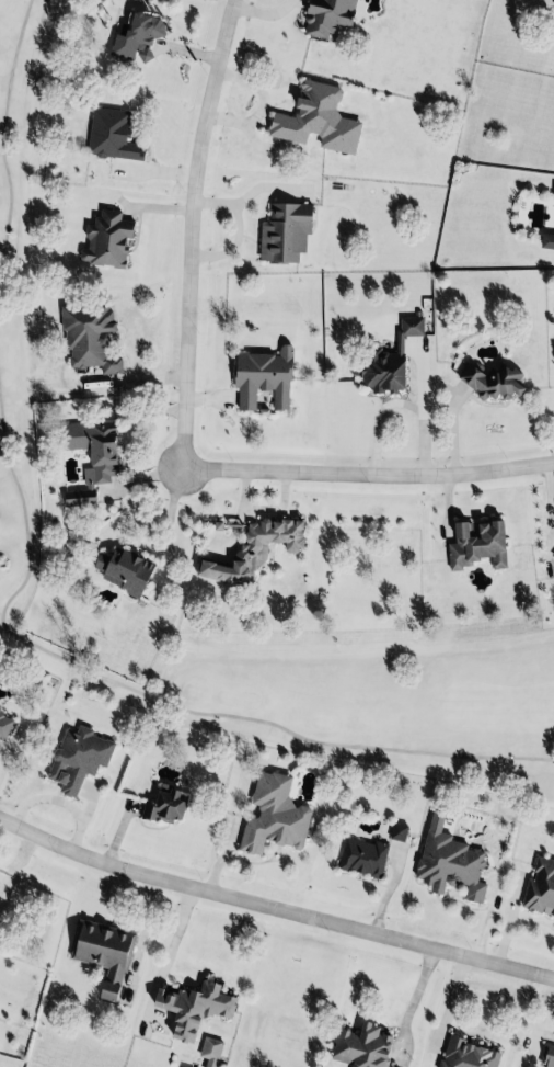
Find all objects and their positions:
road: (258, 12)
building: (326, 14)
building: (134, 38)
building: (314, 117)
building: (105, 134)
building: (552, 194)
road: (188, 230)
building: (279, 231)
building: (103, 239)
building: (544, 239)
building: (85, 334)
building: (386, 359)
building: (257, 378)
building: (492, 379)
road: (396, 400)
building: (85, 454)
road: (366, 473)
building: (475, 545)
building: (252, 548)
building: (125, 570)
building: (3, 723)
building: (74, 756)
building: (162, 803)
building: (272, 814)
building: (395, 829)
building: (357, 854)
building: (447, 856)
building: (539, 885)
road: (273, 908)
building: (101, 951)
road: (161, 952)
building: (192, 1004)
road: (405, 1006)
building: (359, 1044)
building: (207, 1049)
building: (458, 1053)
building: (547, 1054)

